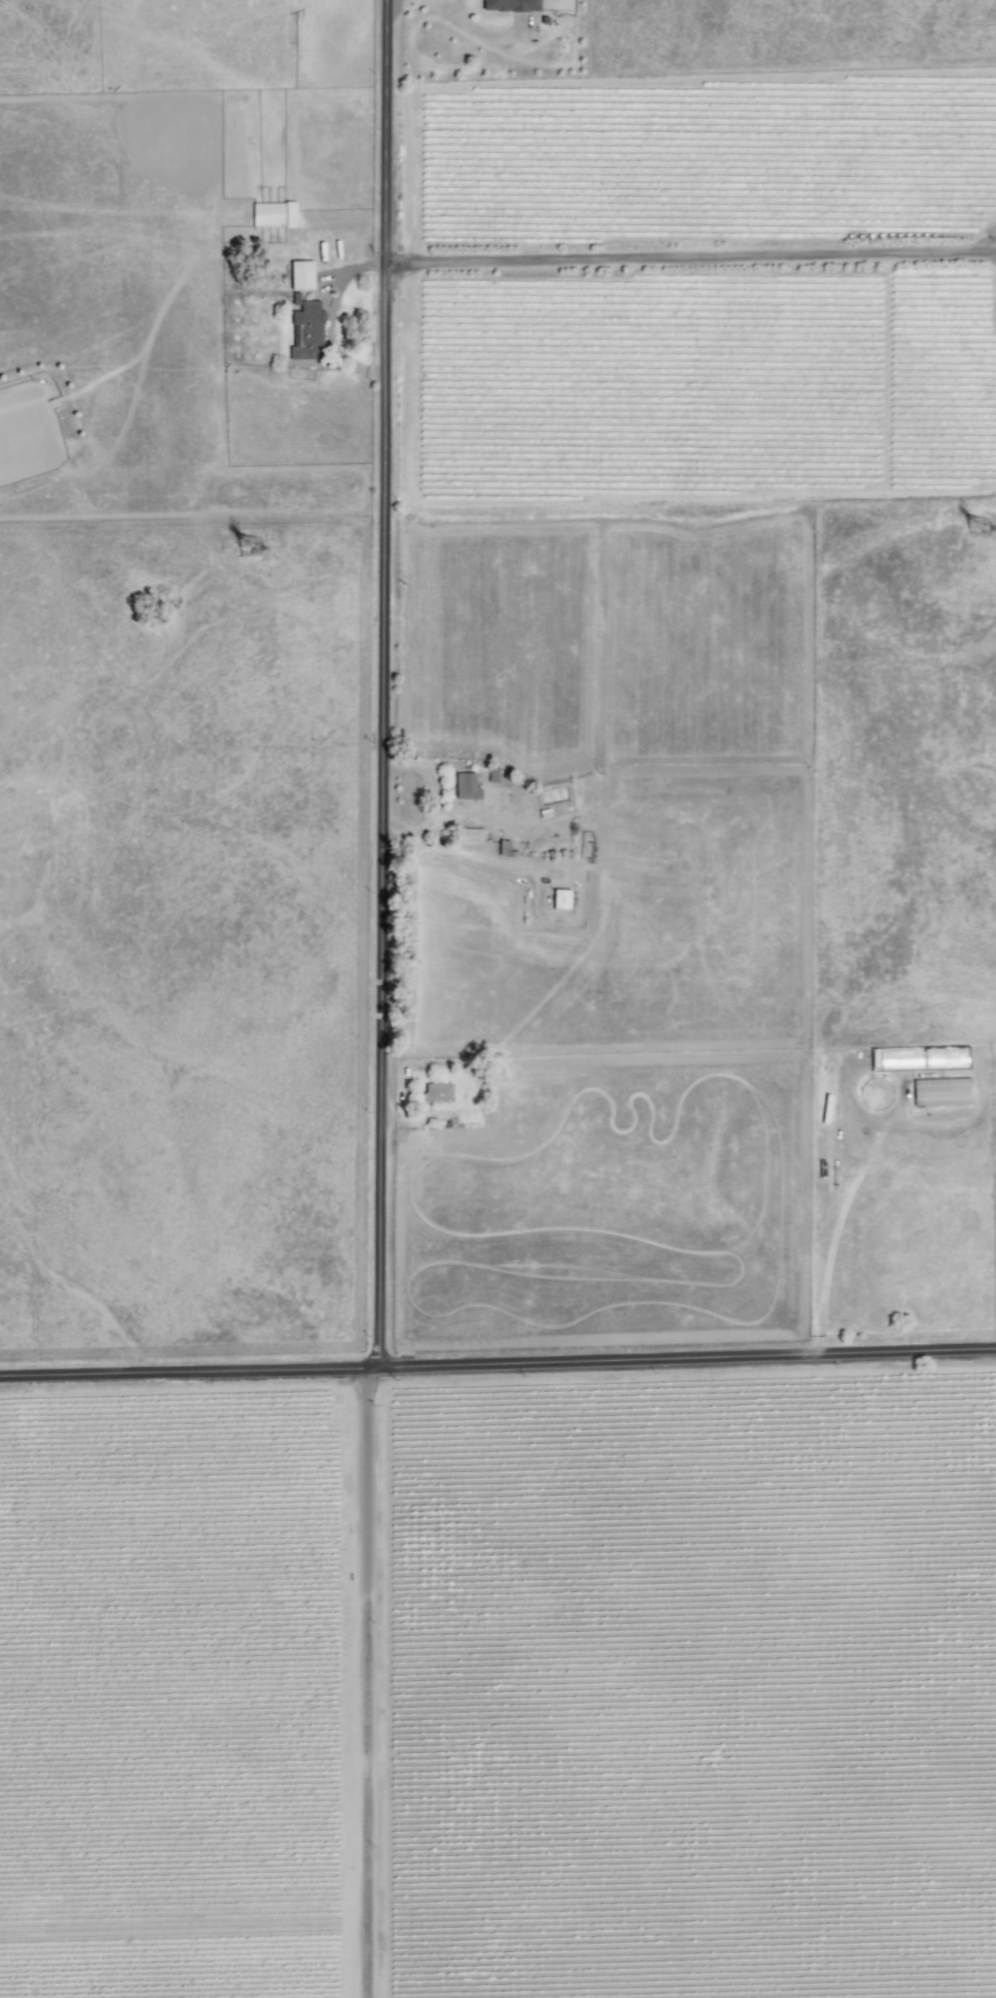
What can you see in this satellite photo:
building: (511, 5)
road: (481, 27)
building: (273, 214)
road: (692, 255)
building: (301, 275)
building: (306, 330)
power tower: (984, 530)
power tower: (258, 548)
road: (386, 683)
building: (493, 774)
building: (465, 785)
building: (468, 835)
building: (560, 898)
building: (940, 1091)
building: (437, 1092)
road: (498, 1364)
road: (367, 1683)

